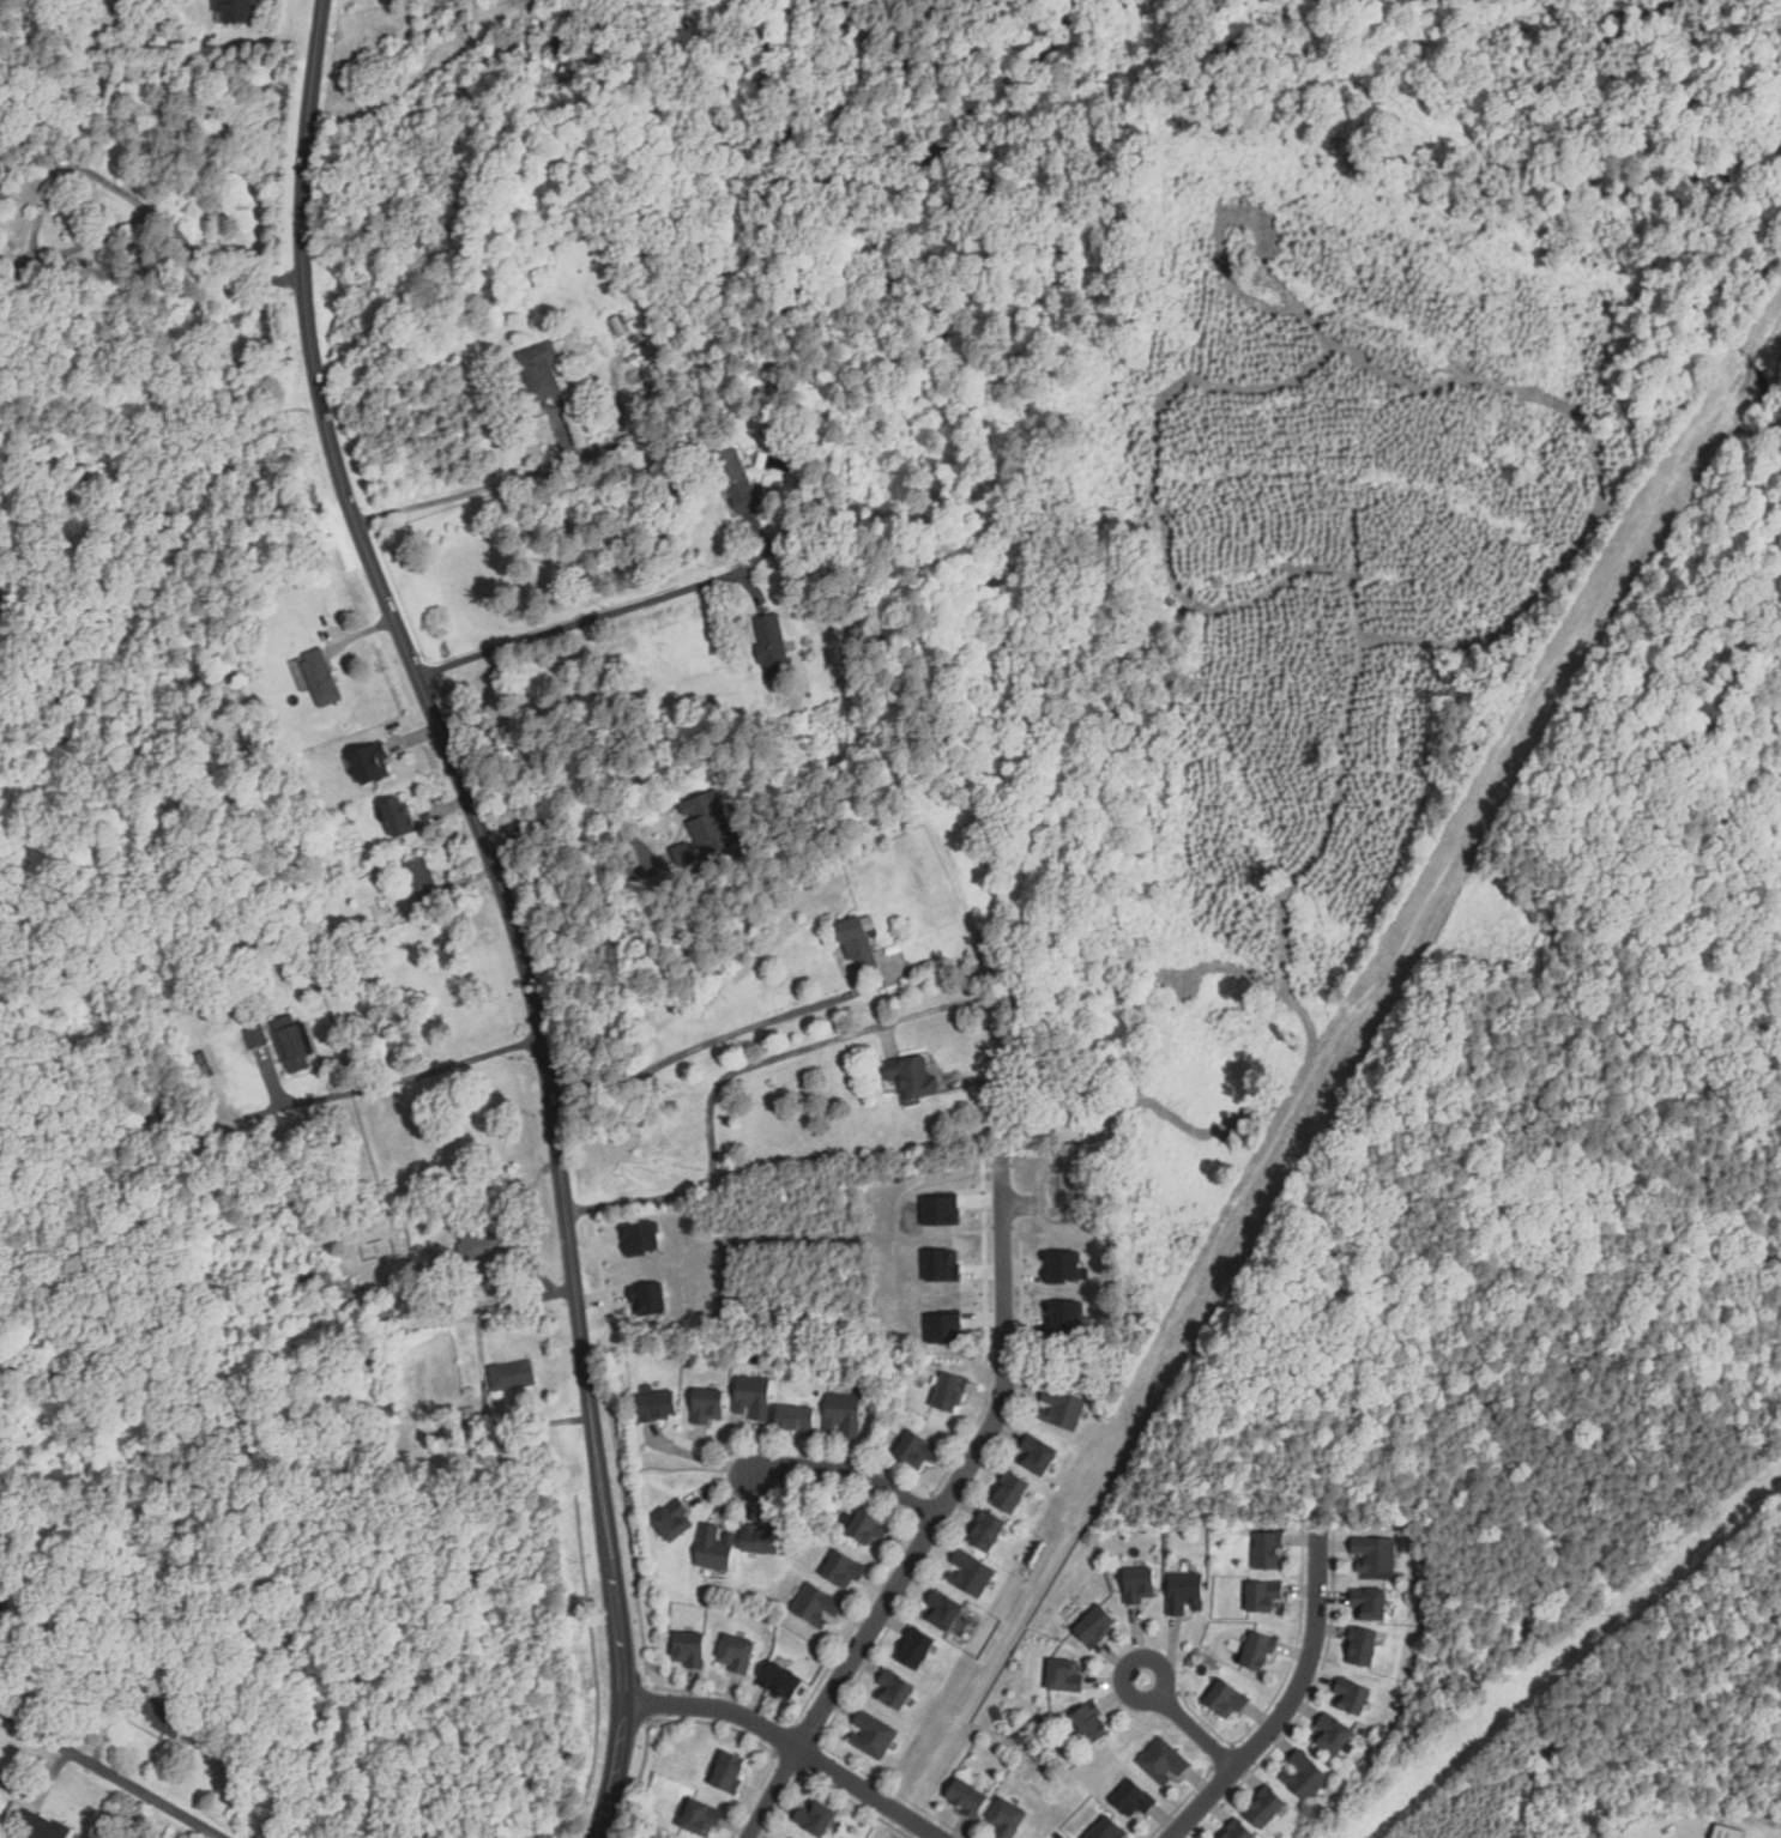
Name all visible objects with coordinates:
building: (237, 10)
building: (0, 163)
road: (87, 168)
building: (0, 170)
building: (541, 369)
building: (737, 479)
road: (485, 485)
road: (588, 615)
building: (772, 646)
building: (320, 676)
building: (372, 763)
building: (400, 817)
road: (566, 818)
building: (710, 818)
building: (421, 878)
road: (507, 907)
building: (857, 945)
building: (255, 1036)
road: (714, 1038)
building: (294, 1042)
building: (912, 1076)
road: (422, 1088)
road: (711, 1114)
building: (940, 1210)
building: (640, 1238)
building: (942, 1264)
building: (1063, 1265)
road: (1002, 1270)
building: (648, 1298)
road: (497, 1305)
building: (386, 1313)
building: (1064, 1317)
building: (943, 1329)
building: (513, 1374)
building: (950, 1392)
building: (753, 1397)
building: (658, 1404)
building: (708, 1405)
building: (1061, 1408)
building: (844, 1413)
building: (796, 1419)
building: (917, 1450)
building: (1037, 1455)
road: (849, 1471)
building: (1010, 1493)
building: (675, 1520)
building: (869, 1526)
building: (988, 1531)
building: (762, 1541)
building: (716, 1547)
building: (1268, 1552)
building: (1375, 1555)
building: (845, 1571)
building: (968, 1571)
building: (1140, 1585)
building: (1185, 1592)
building: (1263, 1596)
building: (816, 1603)
building: (1370, 1604)
building: (1, 1606)
road: (883, 1606)
building: (942, 1610)
building: (1095, 1626)
building: (1363, 1646)
building: (689, 1649)
building: (916, 1649)
building: (736, 1652)
building: (1258, 1652)
building: (1065, 1675)
building: (783, 1681)
building: (896, 1688)
building: (1353, 1695)
building: (1226, 1700)
road: (1292, 1703)
building: (156, 1711)
road: (1190, 1723)
building: (1092, 1724)
building: (871, 1734)
building: (1333, 1734)
road: (787, 1743)
building: (1163, 1760)
building: (730, 1771)
road: (113, 1774)
building: (1305, 1776)
building: (967, 1796)
building: (1134, 1798)
building: (1266, 1807)
building: (815, 1816)
building: (702, 1818)
building: (1006, 1819)
building: (41, 1825)
building: (1107, 1830)
building: (1239, 1832)
building: (1727, 1832)
building: (792, 1837)

